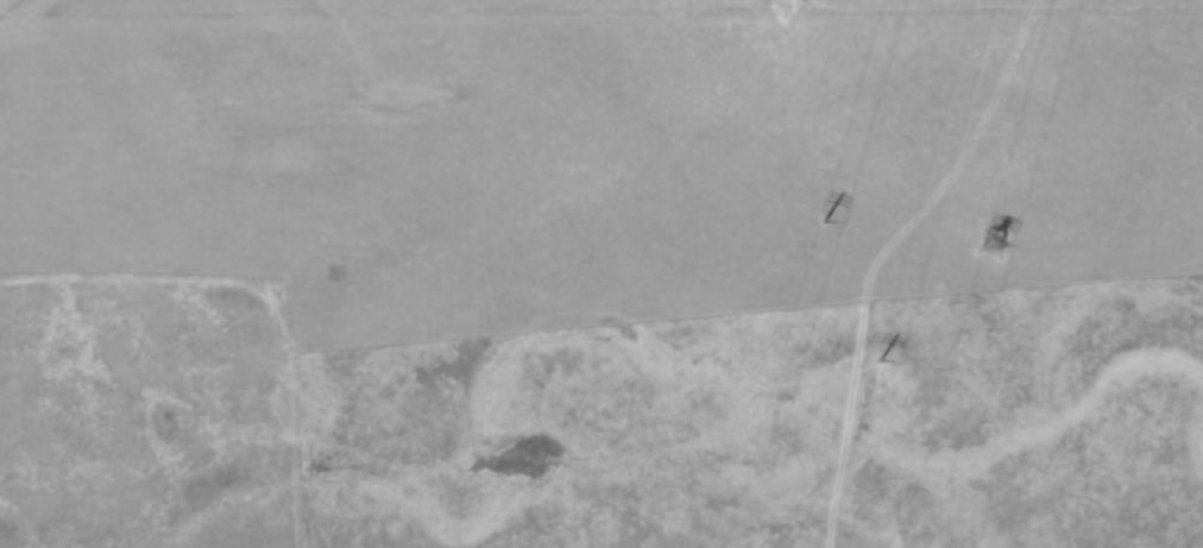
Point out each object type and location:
power tower: (991, 245)

